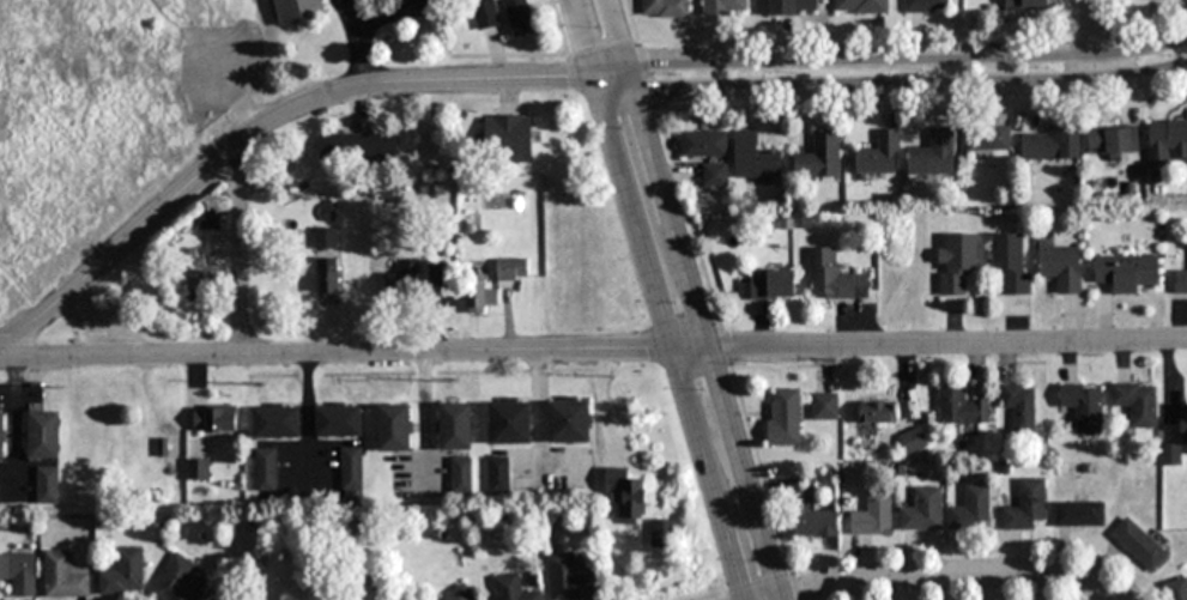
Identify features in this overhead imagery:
park: (2, 0)
building: (1025, 5)
building: (861, 6)
building: (926, 6)
building: (725, 7)
building: (793, 7)
building: (665, 8)
building: (297, 12)
building: (486, 14)
building: (520, 17)
street lamp: (599, 26)
road: (601, 38)
road: (1096, 40)
road: (898, 56)
road: (898, 86)
road: (268, 122)
street lamp: (619, 127)
building: (508, 139)
building: (988, 139)
building: (1113, 143)
building: (1167, 143)
building: (704, 145)
building: (1050, 146)
building: (358, 147)
building: (879, 156)
building: (934, 156)
building: (820, 158)
building: (755, 160)
building: (714, 176)
building: (210, 219)
building: (325, 238)
building: (957, 263)
building: (1011, 263)
road: (238, 265)
building: (1061, 267)
building: (511, 269)
building: (1126, 272)
building: (328, 274)
building: (404, 277)
building: (832, 277)
building: (201, 278)
building: (1181, 281)
building: (771, 286)
building: (480, 293)
street lamp: (671, 299)
road: (107, 332)
road: (703, 337)
road: (672, 340)
road: (947, 346)
road: (353, 356)
street lamp: (700, 388)
building: (1138, 402)
building: (824, 406)
building: (1083, 406)
building: (1019, 407)
building: (961, 410)
building: (878, 412)
building: (783, 417)
building: (214, 418)
building: (509, 420)
building: (568, 420)
building: (275, 422)
building: (338, 422)
building: (454, 426)
building: (393, 428)
building: (43, 436)
building: (1, 437)
building: (913, 443)
building: (1176, 444)
building: (198, 469)
building: (265, 471)
building: (497, 474)
building: (47, 485)
building: (634, 502)
building: (1025, 505)
building: (970, 508)
building: (922, 513)
building: (1079, 513)
building: (873, 515)
building: (816, 525)
building: (662, 533)
building: (1139, 544)
street lamp: (753, 560)
building: (18, 575)
building: (123, 575)
building: (63, 577)
road: (955, 577)
building: (568, 580)
building: (177, 581)
building: (511, 589)
building: (1176, 589)
building: (460, 594)
road: (709, 595)

